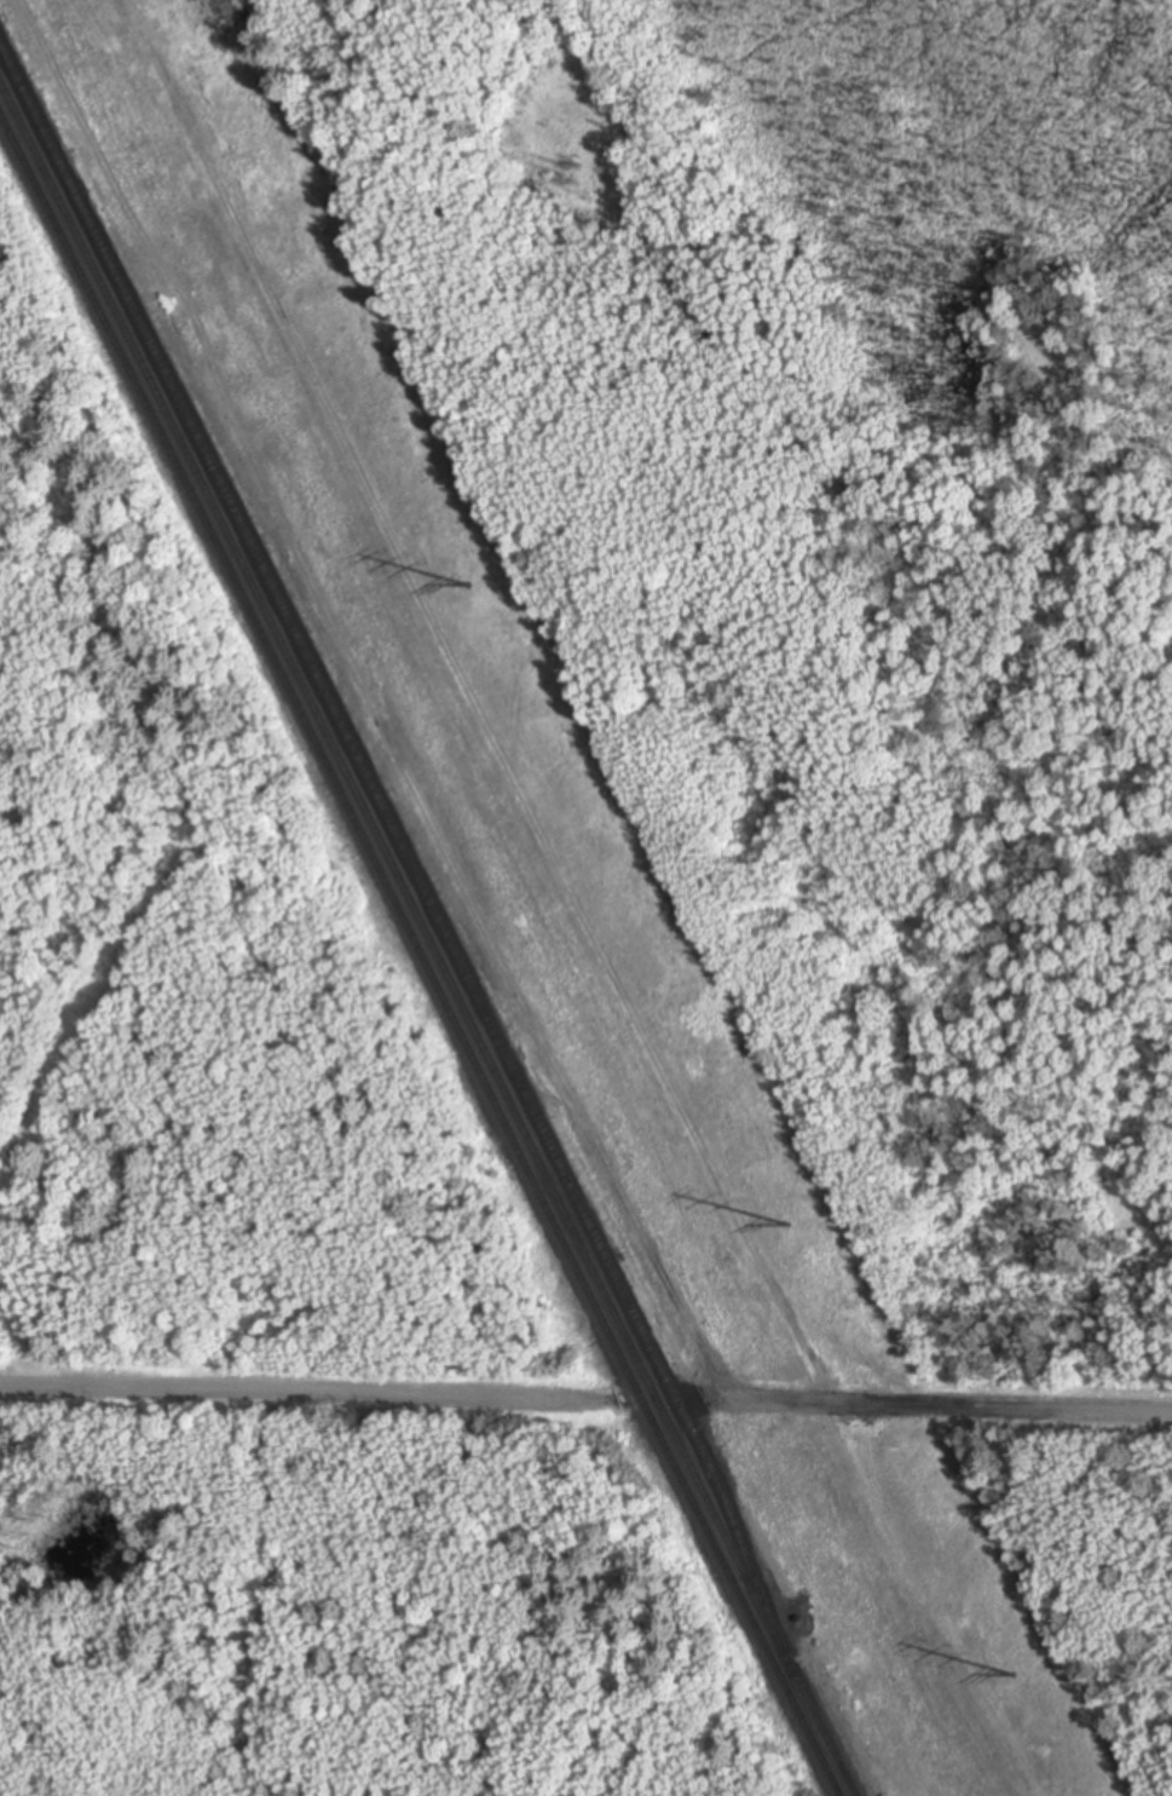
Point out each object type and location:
power tower: (468, 587)
railway: (431, 934)
railway: (418, 957)
power tower: (787, 1227)
road: (585, 1400)
power tower: (1014, 1676)

